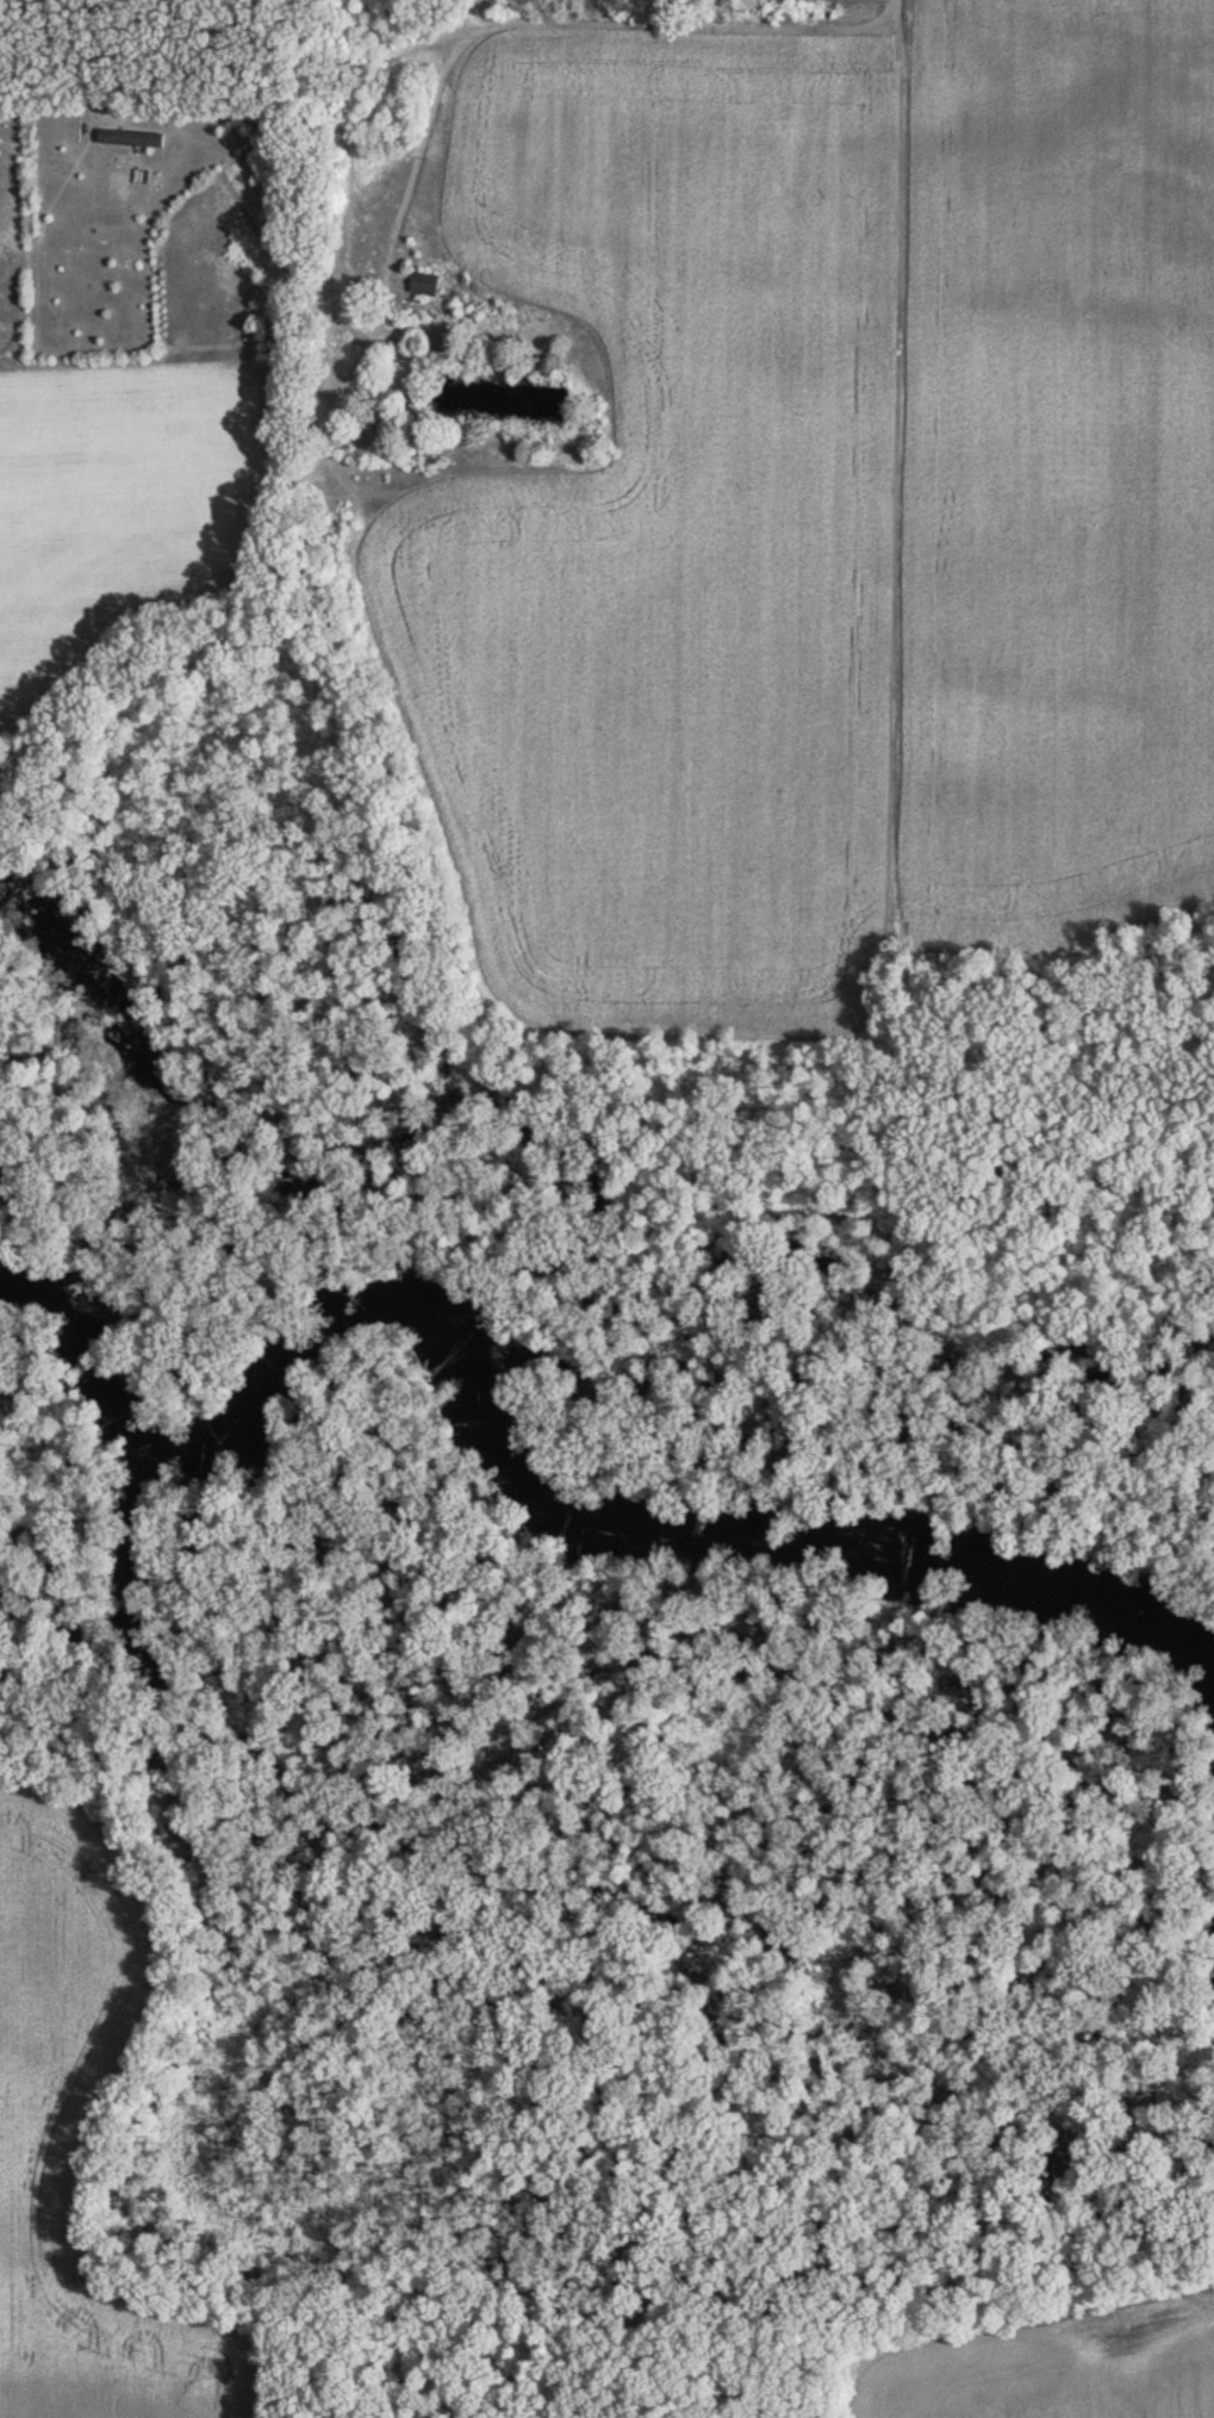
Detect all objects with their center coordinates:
road: (556, 11)
building: (127, 138)
building: (424, 284)
building: (320, 350)
river: (416, 1297)

